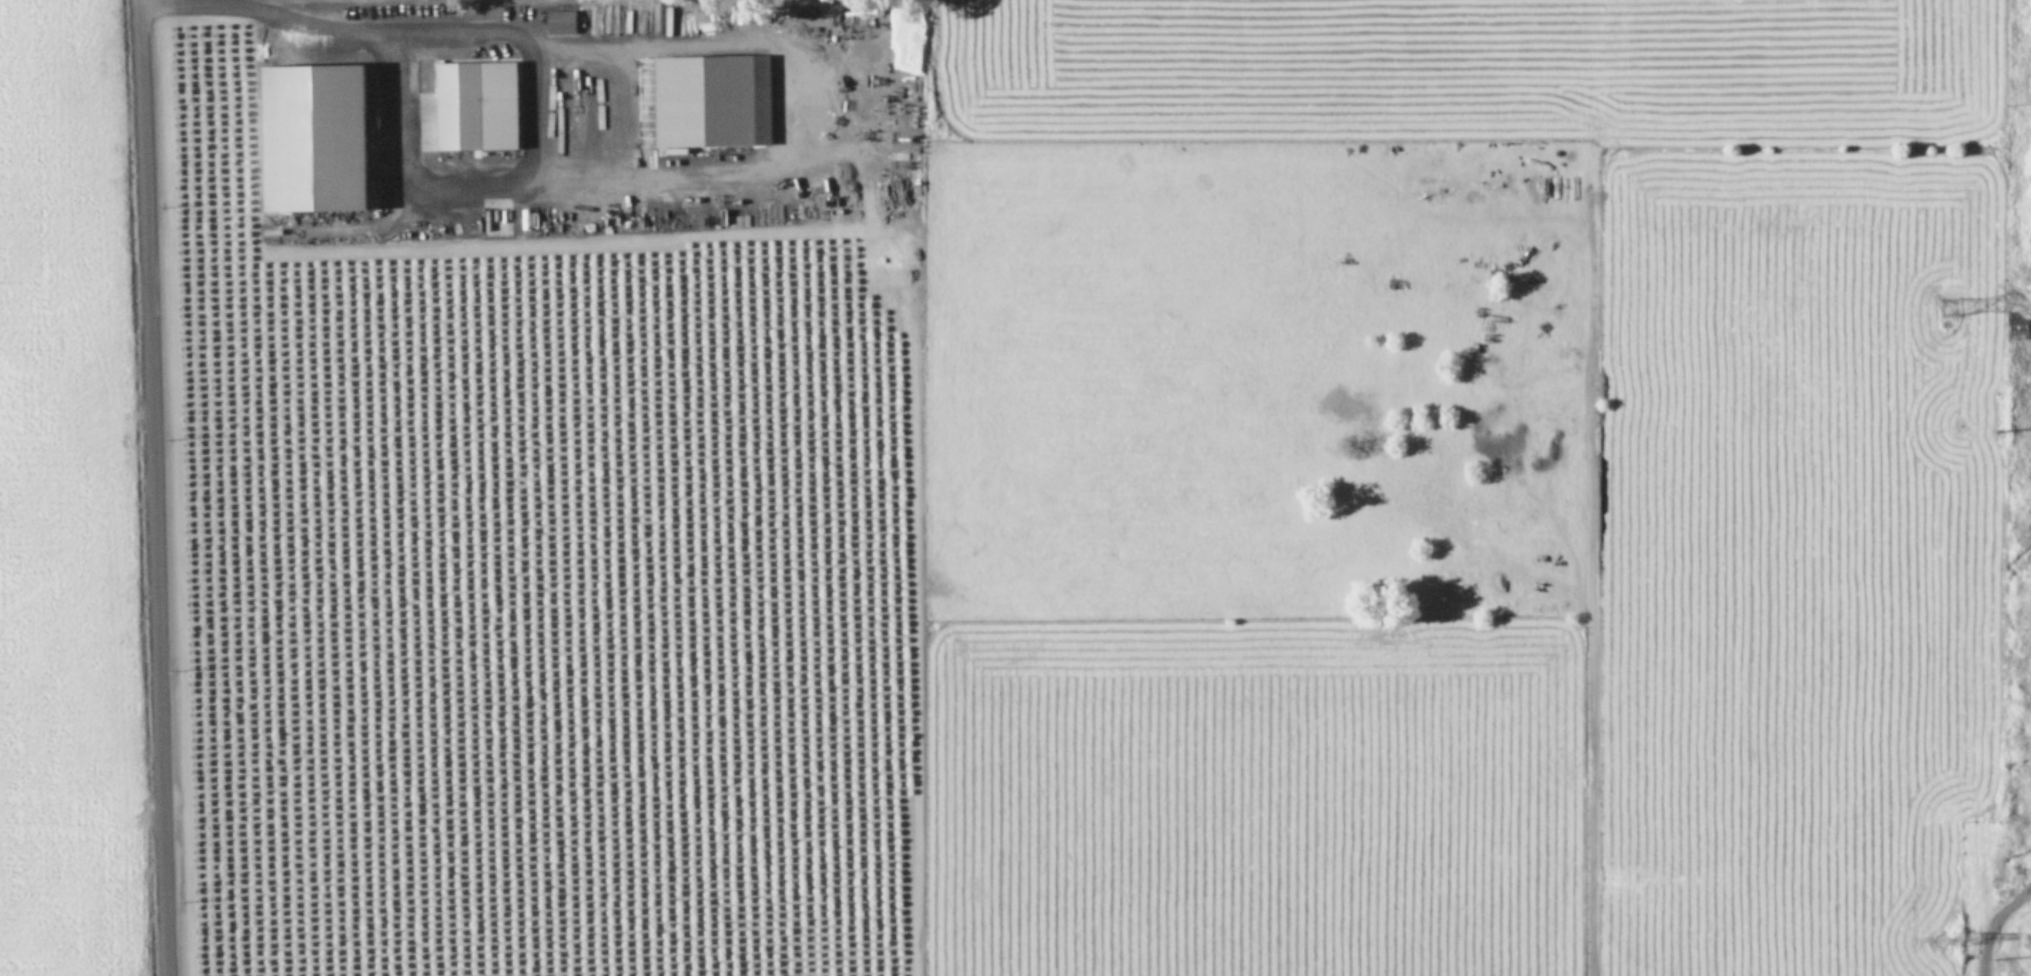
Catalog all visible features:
road: (533, 0)
road: (281, 4)
road: (273, 10)
road: (523, 18)
building: (559, 19)
building: (702, 97)
building: (474, 102)
road: (810, 102)
road: (536, 186)
power tower: (1941, 303)
power tower: (1994, 428)
road: (151, 488)
crop: (1015, 488)
road: (1987, 922)
power tower: (1936, 938)
power tower: (1991, 956)

